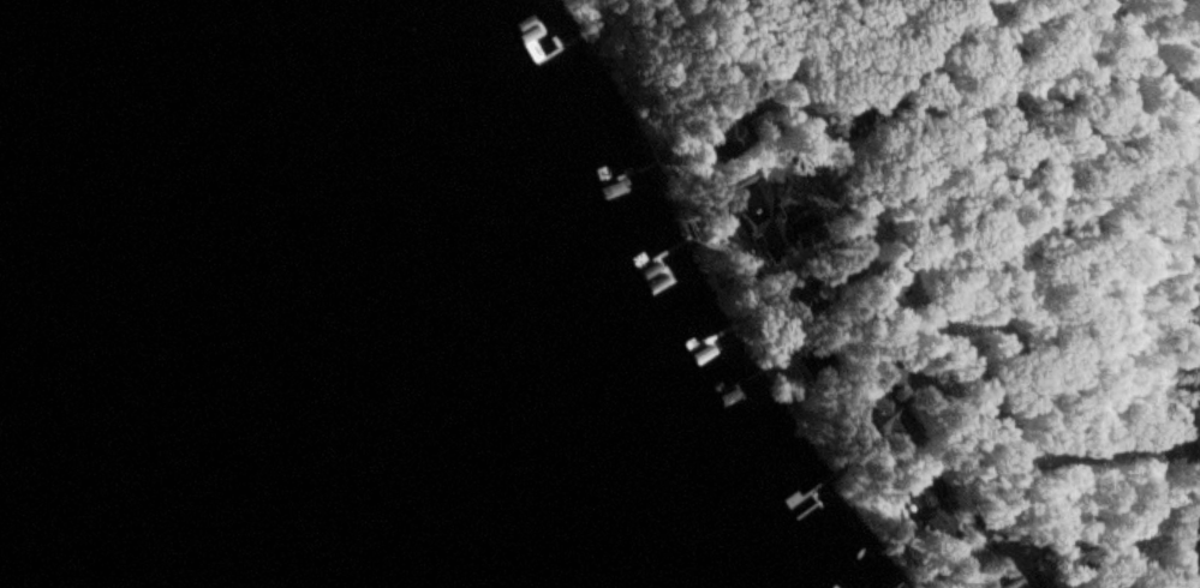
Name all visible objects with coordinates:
building: (728, 138)
building: (752, 199)
road: (929, 305)
road: (1193, 390)
building: (885, 416)
road: (1193, 551)

